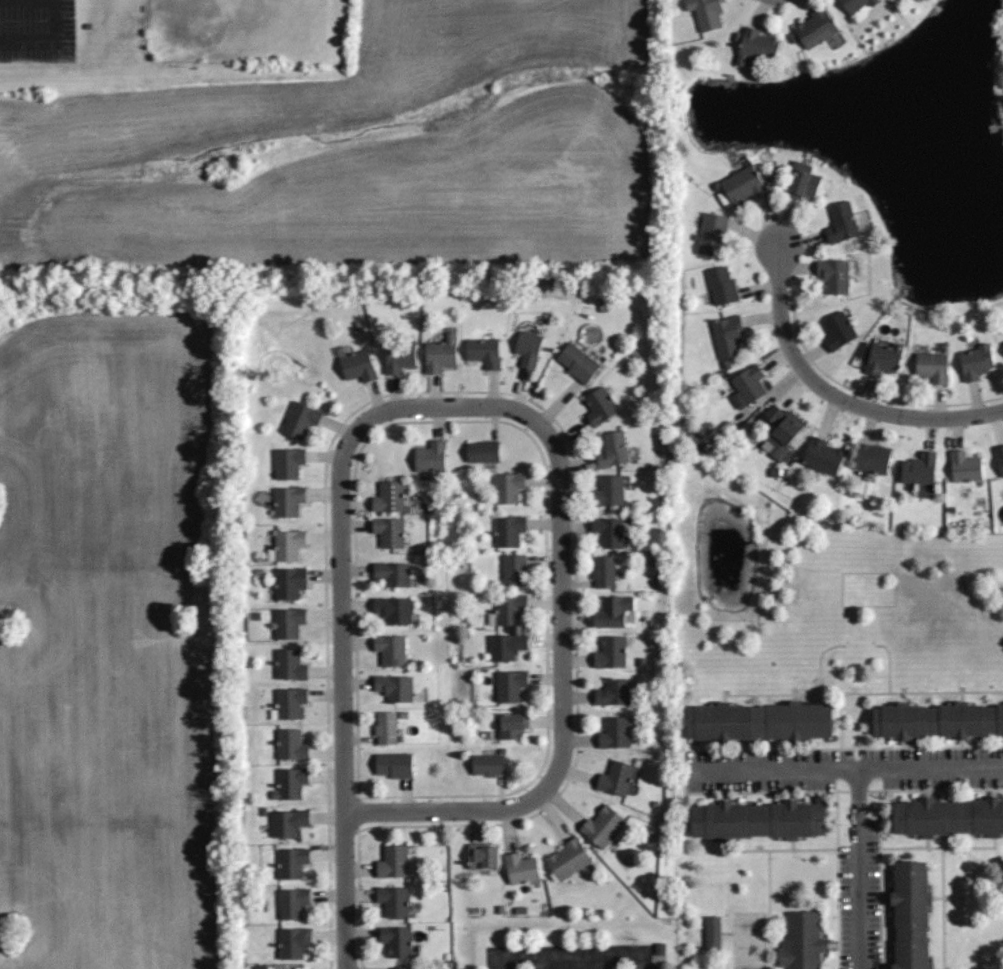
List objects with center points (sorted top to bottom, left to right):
building: (854, 4)
building: (706, 12)
building: (815, 27)
road: (46, 36)
building: (756, 46)
crop: (352, 153)
building: (802, 182)
building: (742, 184)
building: (840, 224)
building: (712, 235)
building: (834, 275)
building: (721, 285)
building: (838, 330)
building: (727, 335)
building: (1001, 346)
building: (528, 350)
building: (484, 351)
building: (440, 353)
building: (399, 357)
building: (883, 358)
building: (975, 361)
building: (577, 362)
building: (358, 366)
building: (931, 366)
building: (749, 382)
road: (835, 396)
building: (600, 406)
building: (301, 419)
building: (782, 433)
building: (613, 449)
building: (482, 451)
building: (820, 453)
building: (1000, 456)
building: (431, 457)
building: (872, 458)
building: (288, 462)
building: (965, 467)
building: (918, 468)
building: (508, 487)
building: (608, 492)
building: (388, 498)
building: (288, 499)
building: (509, 531)
building: (389, 532)
building: (610, 532)
building: (287, 546)
building: (513, 569)
building: (604, 571)
building: (392, 576)
building: (289, 582)
building: (394, 609)
building: (506, 609)
building: (612, 612)
building: (289, 622)
road: (341, 640)
crop: (111, 645)
building: (505, 646)
building: (390, 649)
building: (611, 651)
building: (289, 664)
road: (563, 668)
building: (510, 685)
building: (394, 687)
building: (612, 694)
building: (288, 702)
building: (937, 722)
building: (757, 723)
building: (512, 724)
building: (385, 726)
building: (615, 732)
building: (291, 745)
building: (394, 764)
building: (487, 764)
road: (842, 771)
building: (619, 779)
building: (291, 783)
building: (949, 819)
building: (288, 822)
building: (757, 822)
building: (601, 825)
building: (482, 855)
building: (568, 857)
building: (292, 861)
building: (393, 861)
building: (520, 868)
road: (860, 870)
building: (393, 900)
building: (292, 902)
building: (912, 915)
building: (710, 933)
building: (292, 941)
building: (396, 941)
building: (801, 941)
road: (576, 954)
building: (403, 967)

